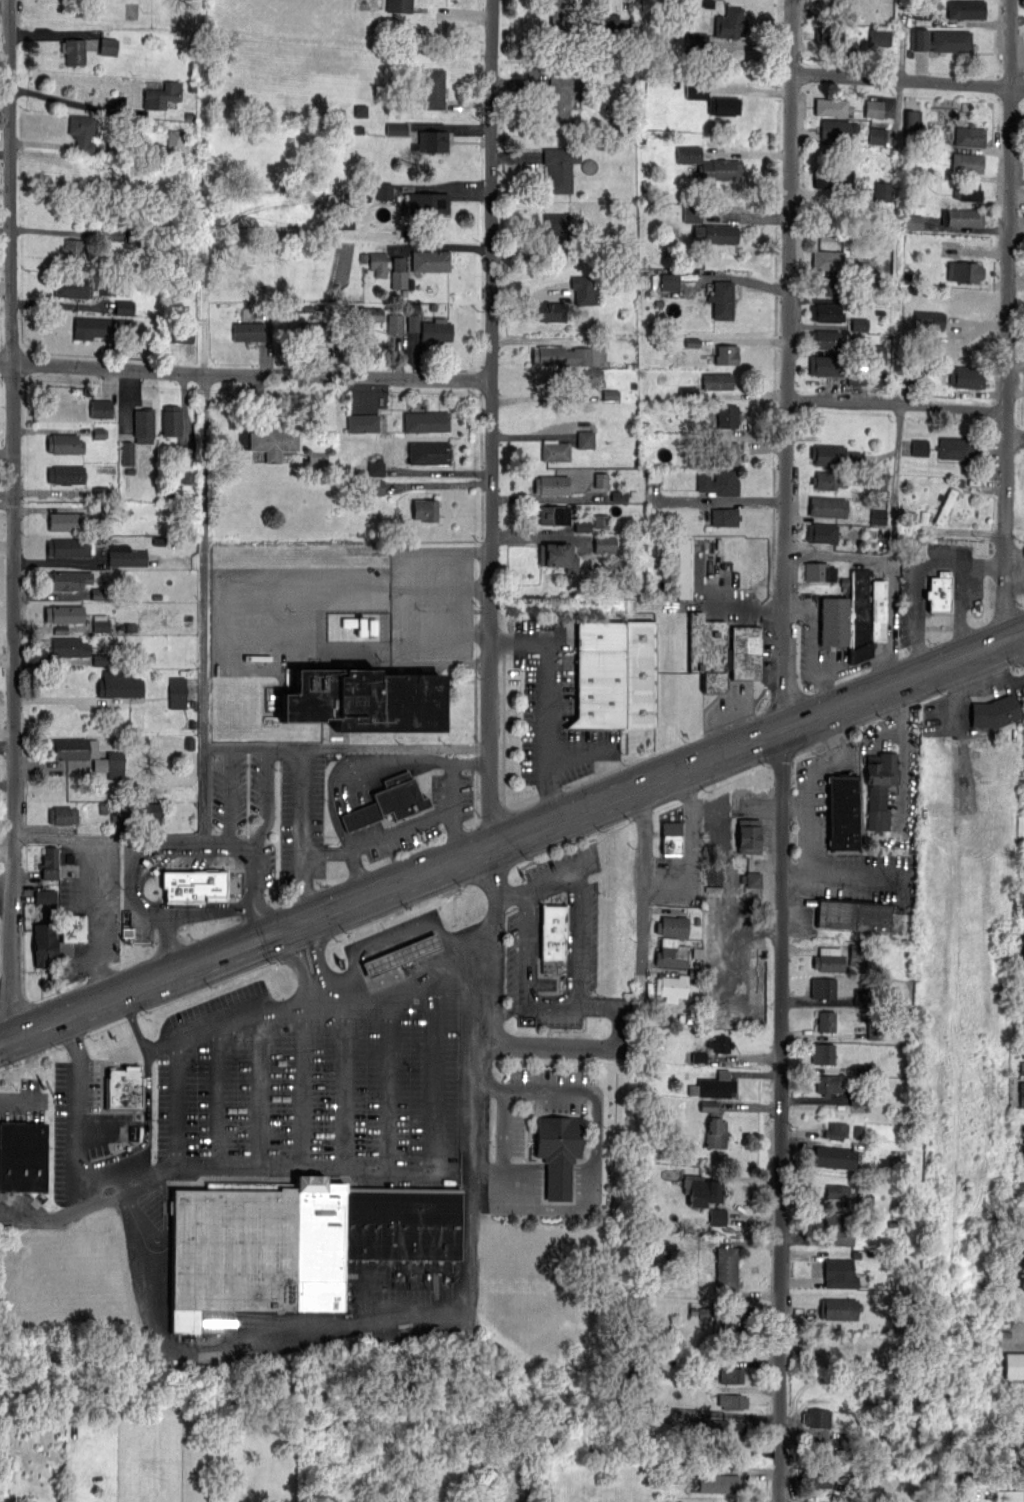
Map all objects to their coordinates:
building: (399, 6)
building: (966, 9)
building: (557, 11)
building: (730, 23)
building: (615, 25)
road: (52, 34)
building: (828, 36)
building: (878, 37)
building: (950, 41)
building: (108, 46)
building: (72, 50)
road: (907, 78)
building: (433, 88)
building: (696, 91)
building: (160, 94)
building: (561, 96)
road: (74, 103)
building: (723, 106)
building: (829, 107)
building: (874, 108)
building: (909, 119)
building: (396, 128)
building: (835, 130)
building: (81, 131)
building: (876, 135)
building: (969, 136)
building: (431, 140)
building: (967, 163)
building: (708, 164)
building: (559, 166)
building: (832, 177)
building: (882, 190)
building: (383, 191)
building: (967, 191)
building: (425, 203)
building: (692, 214)
building: (964, 217)
building: (912, 222)
building: (556, 226)
building: (715, 233)
road: (442, 247)
building: (73, 249)
building: (827, 259)
building: (430, 260)
building: (378, 264)
building: (862, 270)
building: (964, 271)
building: (398, 272)
building: (670, 281)
building: (824, 286)
building: (74, 287)
building: (584, 290)
building: (721, 299)
building: (124, 307)
building: (550, 312)
building: (825, 312)
building: (364, 314)
building: (413, 317)
building: (928, 320)
road: (1008, 321)
building: (395, 323)
building: (859, 324)
building: (101, 326)
building: (247, 331)
building: (312, 331)
building: (435, 331)
building: (182, 335)
building: (824, 339)
building: (876, 350)
building: (725, 354)
building: (561, 356)
building: (827, 365)
building: (856, 374)
road: (245, 375)
building: (589, 376)
building: (965, 377)
building: (706, 385)
building: (610, 395)
road: (898, 405)
building: (100, 408)
building: (728, 415)
building: (170, 420)
building: (425, 422)
building: (361, 423)
road: (491, 423)
building: (143, 425)
road: (1016, 431)
building: (99, 433)
building: (585, 439)
building: (274, 442)
building: (64, 443)
building: (919, 447)
building: (958, 449)
building: (554, 450)
building: (127, 453)
building: (185, 453)
building: (428, 453)
building: (726, 454)
building: (317, 456)
building: (834, 456)
building: (375, 469)
building: (129, 471)
building: (66, 474)
building: (186, 477)
building: (600, 480)
building: (826, 480)
building: (961, 482)
building: (718, 483)
building: (551, 484)
building: (375, 487)
building: (633, 493)
building: (619, 496)
building: (99, 503)
building: (827, 506)
building: (946, 506)
building: (424, 509)
building: (549, 515)
building: (723, 516)
building: (877, 516)
building: (912, 516)
building: (922, 516)
road: (13, 519)
building: (601, 520)
building: (66, 521)
building: (821, 532)
building: (158, 540)
building: (604, 544)
building: (69, 548)
building: (125, 556)
building: (558, 556)
road: (850, 556)
road: (931, 560)
parking lot: (1022, 562)
road: (1015, 566)
road: (984, 567)
building: (684, 568)
building: (819, 571)
building: (67, 579)
parking lot: (969, 590)
building: (100, 593)
building: (156, 595)
building: (941, 596)
road: (205, 609)
building: (865, 613)
building: (64, 614)
parking lot: (346, 617)
parking lot: (810, 618)
building: (834, 620)
building: (100, 622)
building: (130, 627)
building: (60, 629)
road: (552, 642)
building: (66, 647)
building: (723, 652)
parking lot: (770, 654)
building: (151, 657)
building: (101, 659)
road: (841, 672)
road: (885, 673)
building: (119, 684)
road: (989, 687)
building: (599, 689)
building: (177, 692)
road: (827, 694)
road: (954, 694)
road: (761, 696)
building: (364, 701)
building: (193, 704)
parking lot: (554, 708)
parking lot: (975, 708)
parking lot: (730, 709)
building: (994, 711)
building: (192, 724)
road: (547, 731)
road: (7, 736)
building: (189, 743)
building: (72, 749)
road: (904, 749)
road: (347, 750)
road: (783, 750)
road: (582, 752)
road: (369, 761)
building: (110, 764)
parking lot: (896, 776)
road: (352, 782)
building: (879, 787)
road: (420, 793)
road: (231, 796)
road: (807, 796)
building: (388, 804)
road: (795, 804)
building: (103, 807)
parking lot: (247, 810)
parking lot: (450, 811)
building: (148, 812)
parking lot: (812, 812)
building: (843, 812)
building: (118, 813)
building: (62, 815)
road: (411, 816)
road: (266, 829)
road: (400, 829)
road: (366, 834)
road: (457, 834)
road: (304, 835)
building: (748, 835)
road: (323, 836)
building: (671, 837)
road: (111, 838)
road: (512, 838)
road: (688, 847)
building: (48, 863)
parking lot: (679, 863)
road: (359, 872)
road: (854, 877)
road: (544, 879)
road: (646, 879)
building: (753, 879)
road: (132, 880)
building: (195, 885)
road: (7, 891)
building: (45, 896)
building: (712, 899)
parking lot: (91, 905)
road: (164, 905)
road: (734, 910)
building: (852, 915)
road: (99, 920)
road: (260, 921)
building: (672, 926)
building: (74, 928)
road: (301, 933)
road: (488, 933)
building: (551, 935)
building: (43, 945)
road: (172, 945)
parking lot: (557, 947)
road: (734, 952)
building: (670, 953)
building: (400, 954)
building: (857, 954)
parking lot: (733, 956)
building: (828, 959)
road: (319, 960)
road: (301, 966)
building: (671, 987)
building: (822, 987)
road: (318, 989)
road: (5, 992)
building: (860, 997)
road: (306, 998)
road: (563, 1003)
building: (825, 1021)
road: (133, 1022)
building: (875, 1030)
building: (719, 1044)
road: (161, 1046)
road: (592, 1049)
building: (822, 1053)
building: (1022, 1067)
building: (863, 1070)
road: (437, 1076)
building: (828, 1083)
road: (302, 1084)
road: (345, 1084)
road: (388, 1084)
building: (713, 1085)
building: (123, 1088)
road: (263, 1090)
road: (532, 1090)
building: (1021, 1093)
road: (215, 1098)
building: (859, 1099)
parking lot: (24, 1102)
road: (21, 1104)
road: (177, 1105)
road: (79, 1111)
building: (713, 1125)
building: (1021, 1129)
road: (101, 1130)
building: (836, 1131)
building: (858, 1131)
parking lot: (92, 1133)
parking lot: (549, 1142)
road: (594, 1143)
road: (139, 1146)
road: (503, 1151)
parking lot: (324, 1152)
building: (557, 1152)
building: (1021, 1153)
building: (22, 1156)
building: (834, 1157)
road: (220, 1168)
road: (347, 1169)
road: (524, 1179)
road: (557, 1179)
building: (1021, 1187)
building: (704, 1191)
building: (837, 1191)
road: (90, 1203)
building: (1020, 1209)
building: (717, 1216)
building: (836, 1229)
building: (293, 1244)
building: (726, 1269)
building: (839, 1273)
building: (838, 1308)
road: (396, 1324)
building: (1014, 1365)
building: (730, 1375)
building: (732, 1401)
building: (815, 1416)
building: (732, 1428)
building: (817, 1478)
building: (718, 1482)
building: (1007, 1495)

